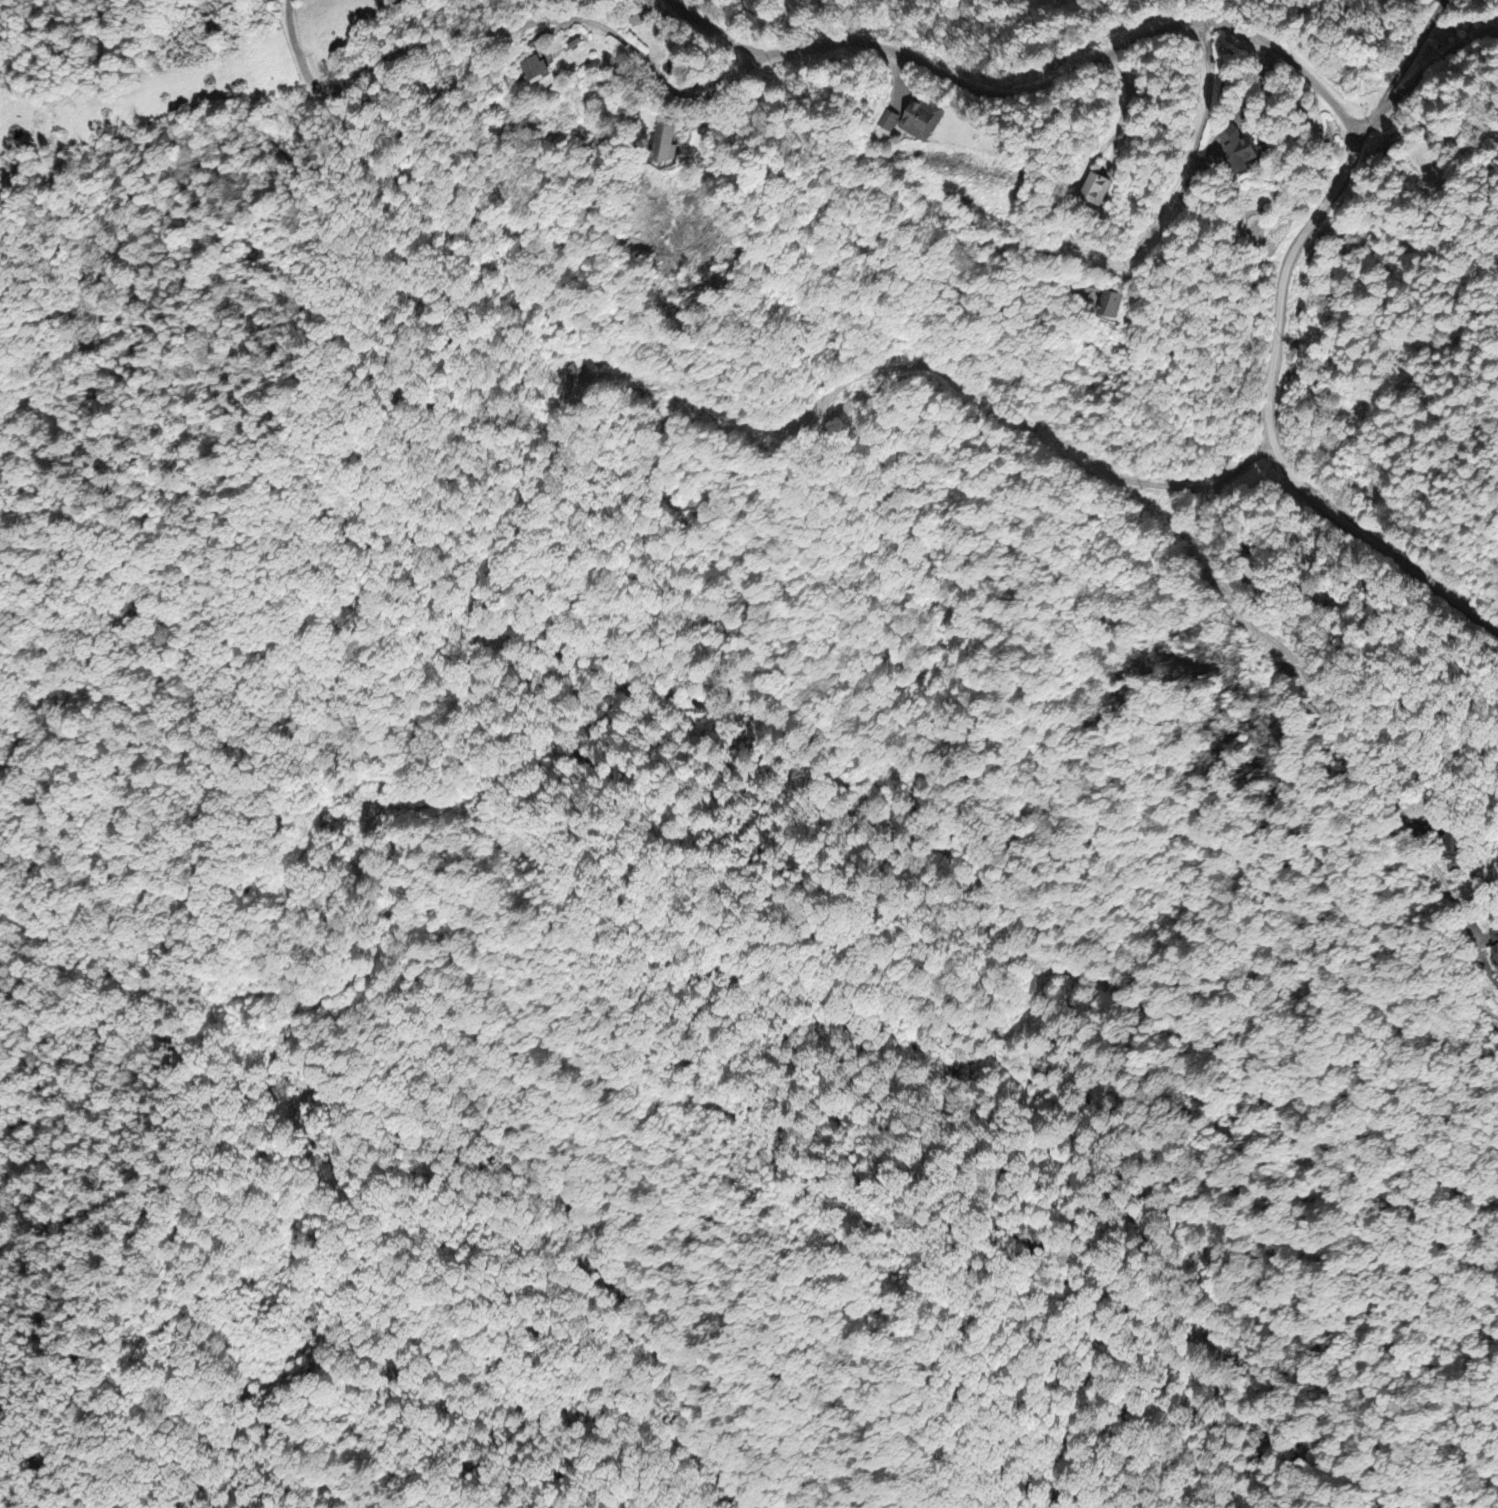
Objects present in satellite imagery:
road: (555, 16)
road: (1077, 66)
building: (538, 69)
road: (1402, 69)
road: (1420, 72)
building: (924, 118)
building: (889, 121)
building: (666, 141)
building: (1242, 150)
road: (1195, 156)
building: (1099, 188)
road: (1284, 284)
building: (1112, 304)
road: (900, 365)
building: (568, 369)
road: (1380, 541)
building: (1262, 570)
road: (1339, 711)
building: (1456, 840)
building: (1494, 938)

